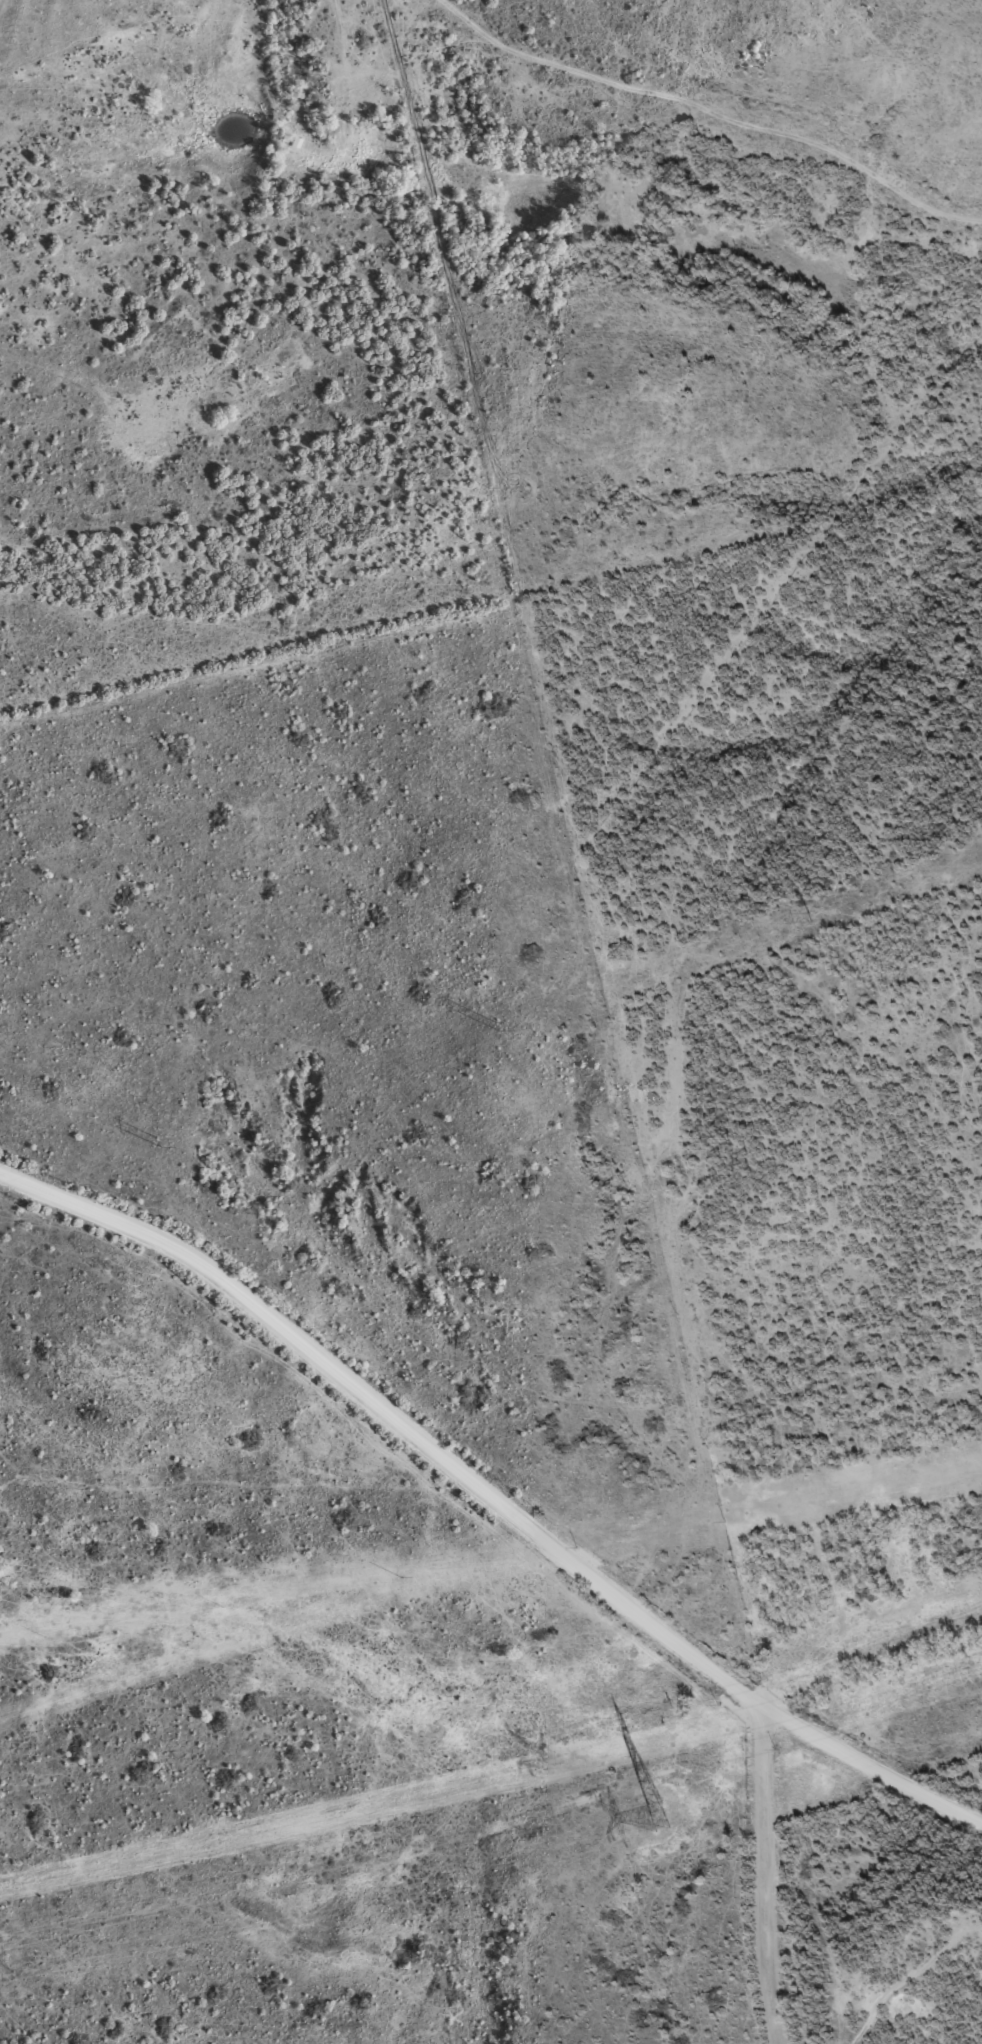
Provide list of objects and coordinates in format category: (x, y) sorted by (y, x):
power tower: (811, 915)
power tower: (498, 1025)
power tower: (160, 1140)
road: (485, 1509)
power tower: (651, 1817)
road: (760, 1876)

